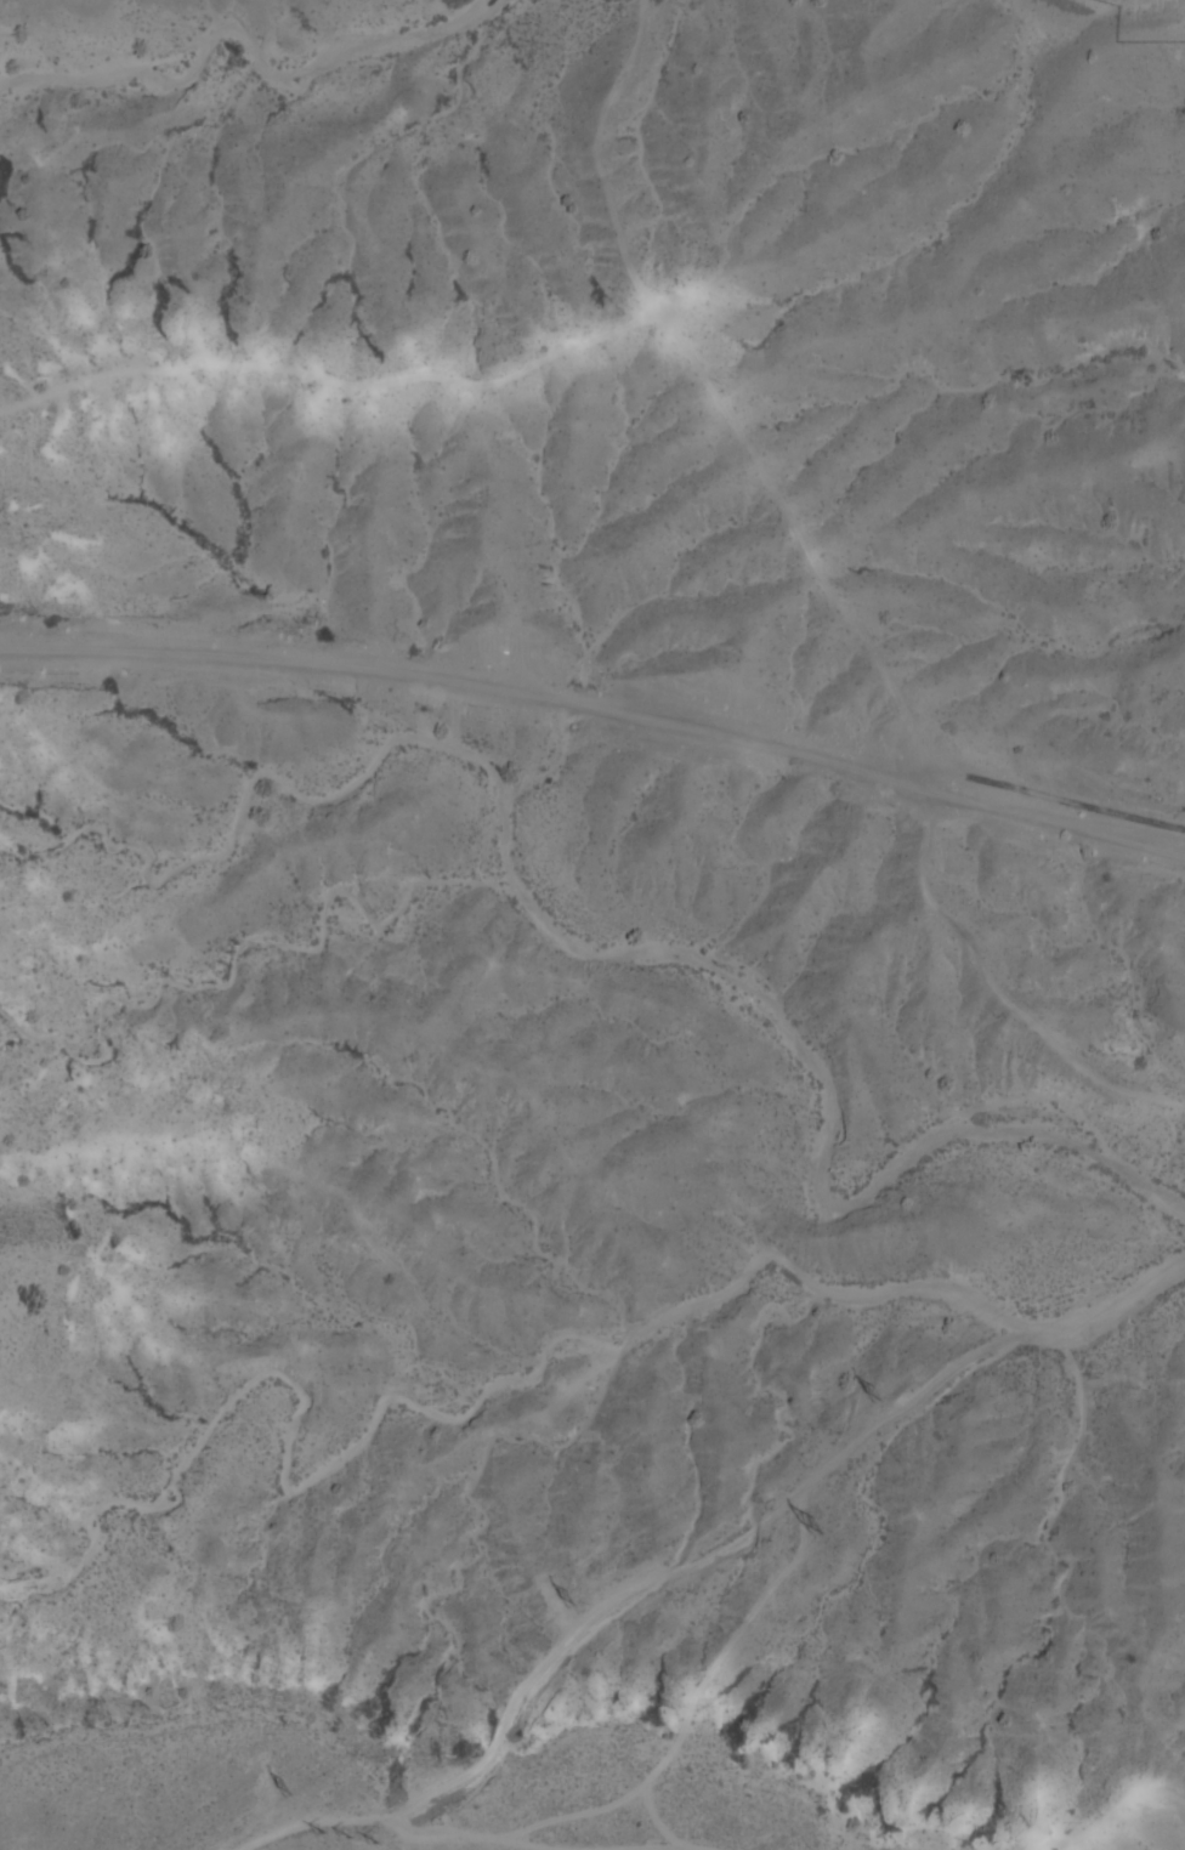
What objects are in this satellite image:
road: (599, 709)
power tower: (878, 1395)
power tower: (813, 1526)
power tower: (573, 1598)
power tower: (288, 1788)
power tower: (347, 1835)

